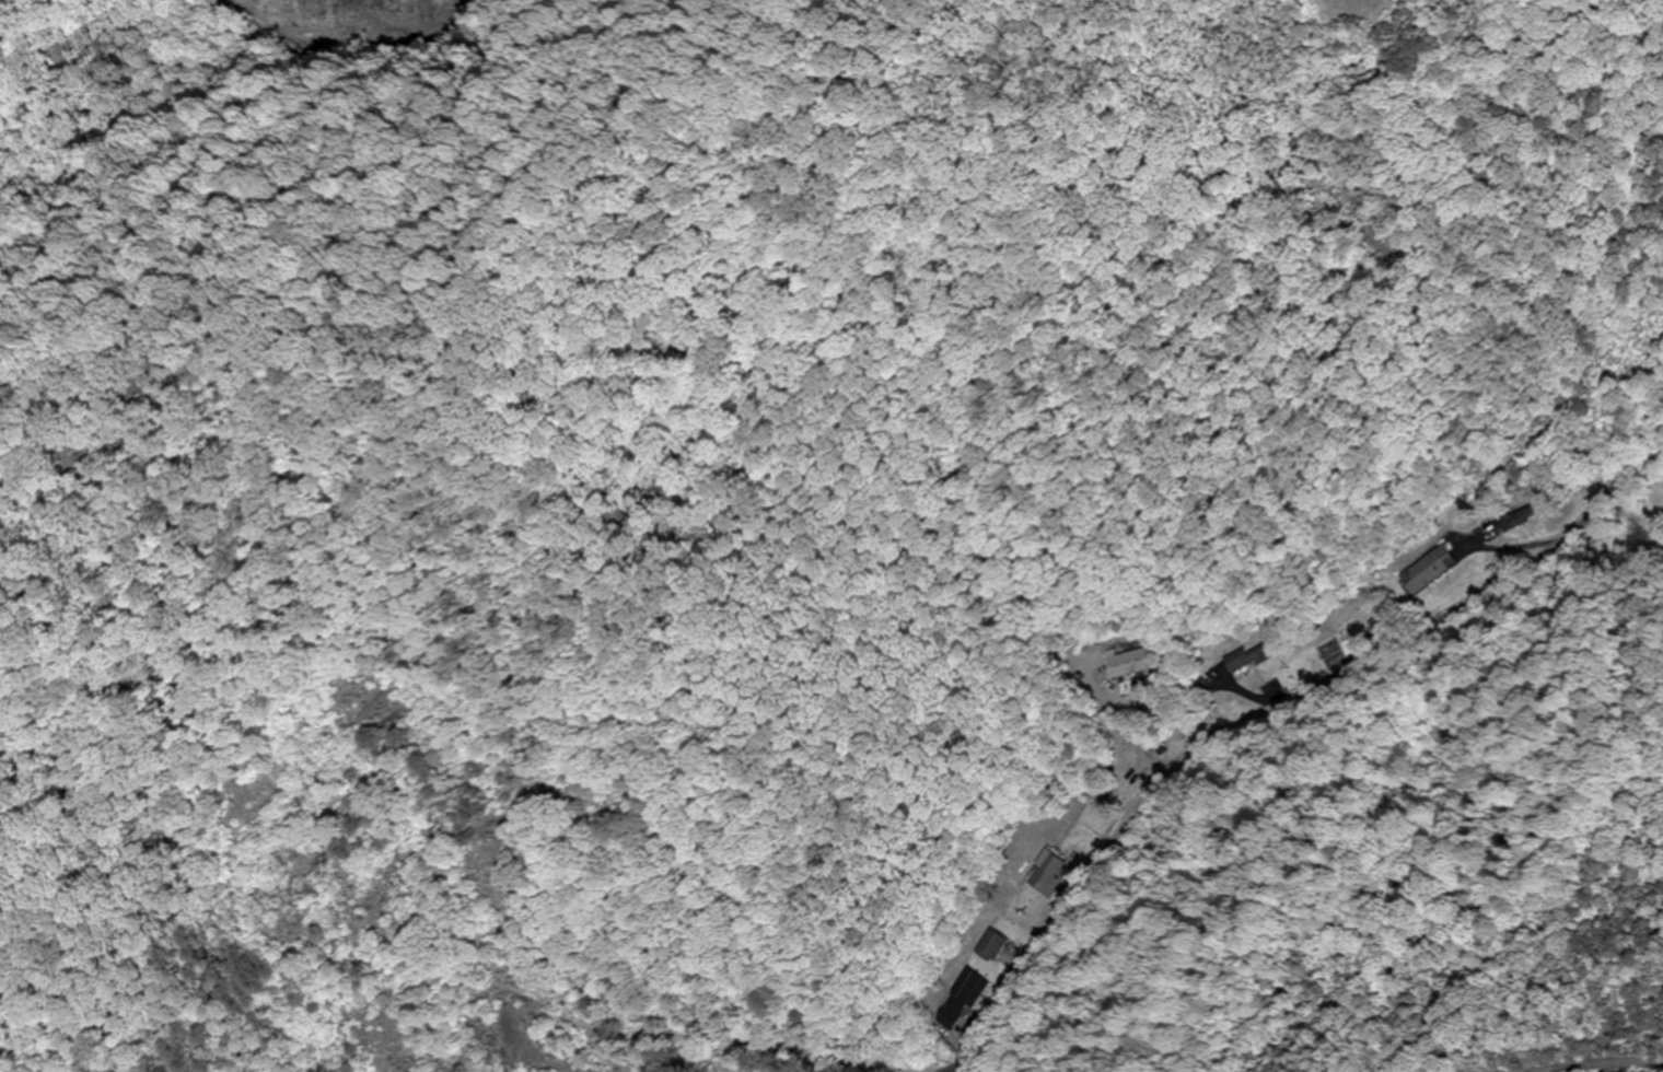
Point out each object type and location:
building: (1516, 521)
building: (1428, 569)
building: (1381, 629)
road: (1274, 716)
building: (1049, 873)
building: (993, 946)
building: (963, 999)

